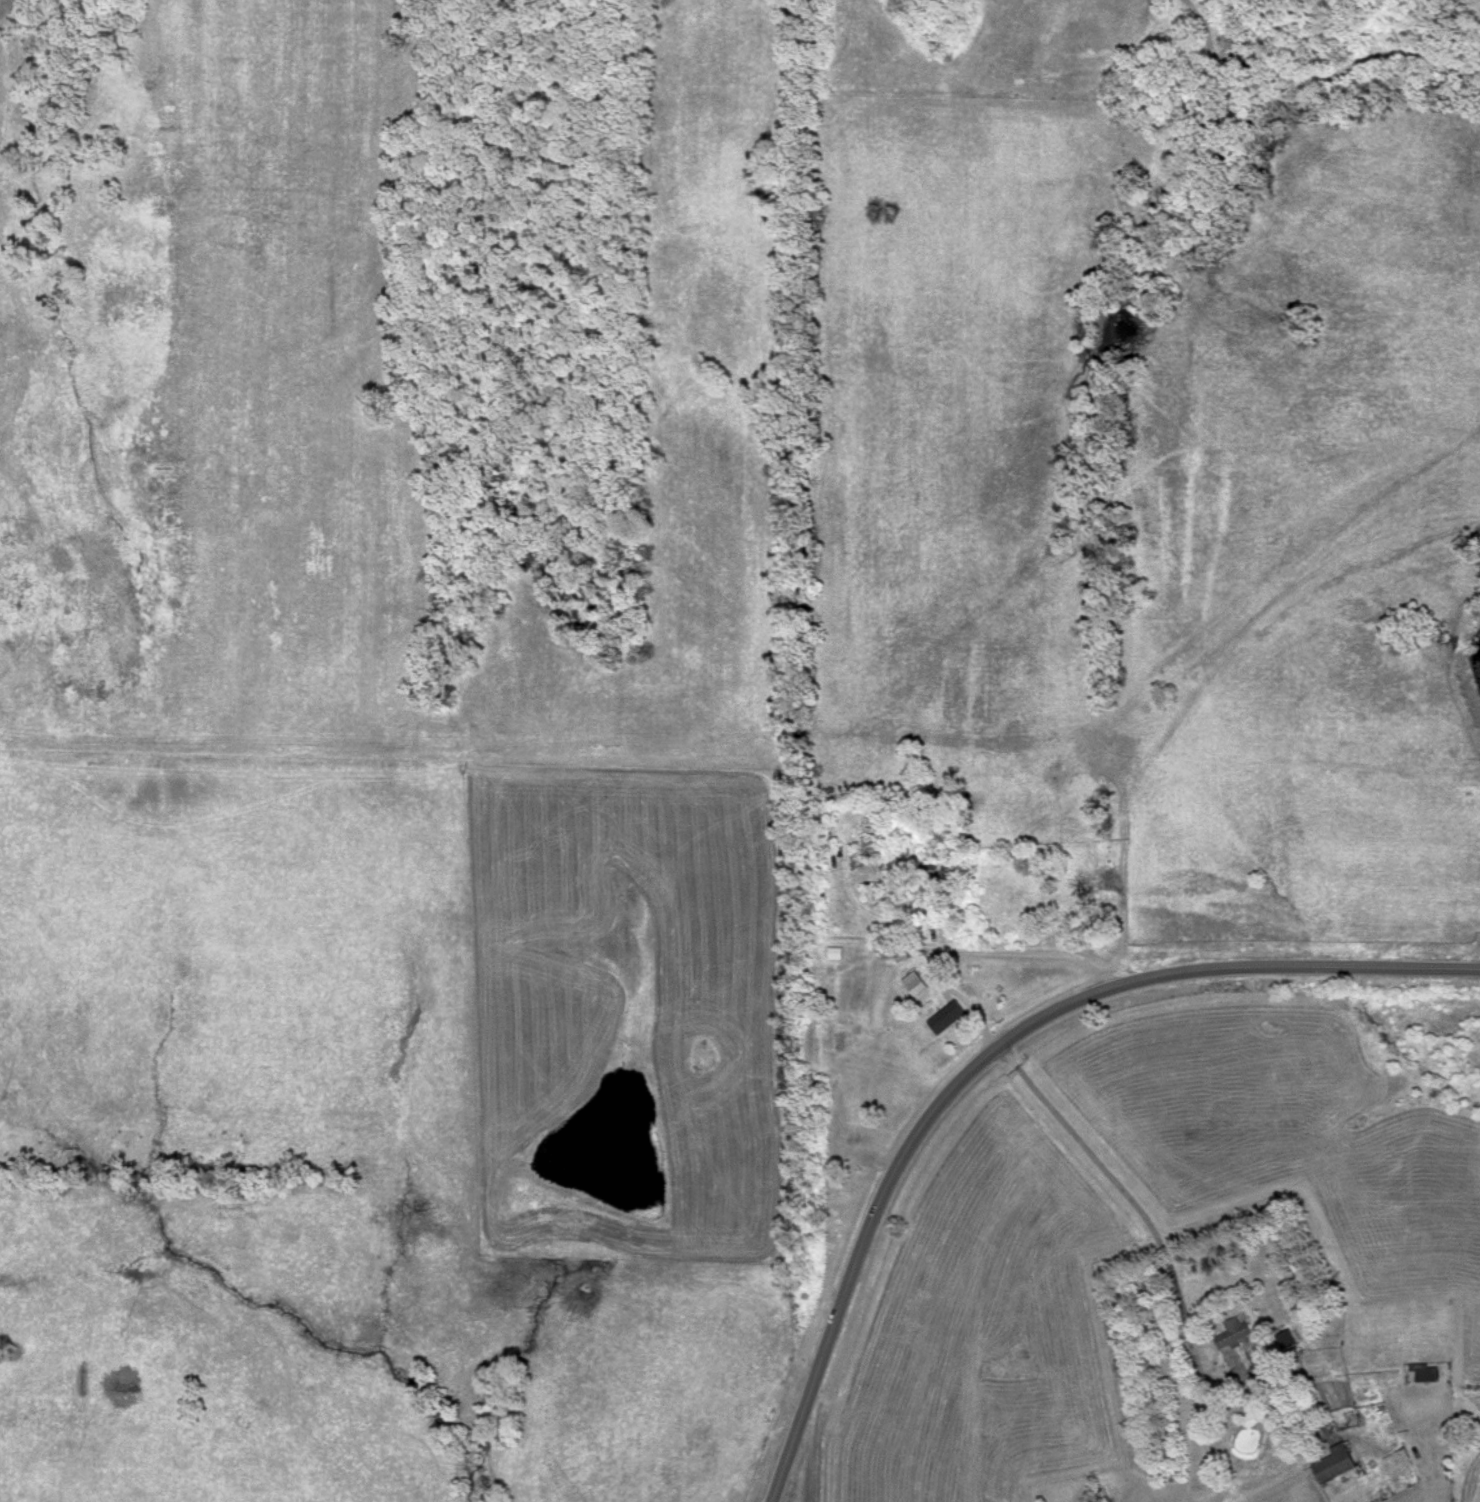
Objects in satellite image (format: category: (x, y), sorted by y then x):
building: (1107, 754)
building: (1161, 831)
building: (904, 858)
building: (1095, 893)
building: (1069, 901)
road: (968, 942)
building: (833, 955)
building: (914, 985)
building: (946, 1019)
road: (991, 1052)
road: (1168, 1260)
building: (1230, 1335)
building: (1421, 1375)
building: (1333, 1466)

